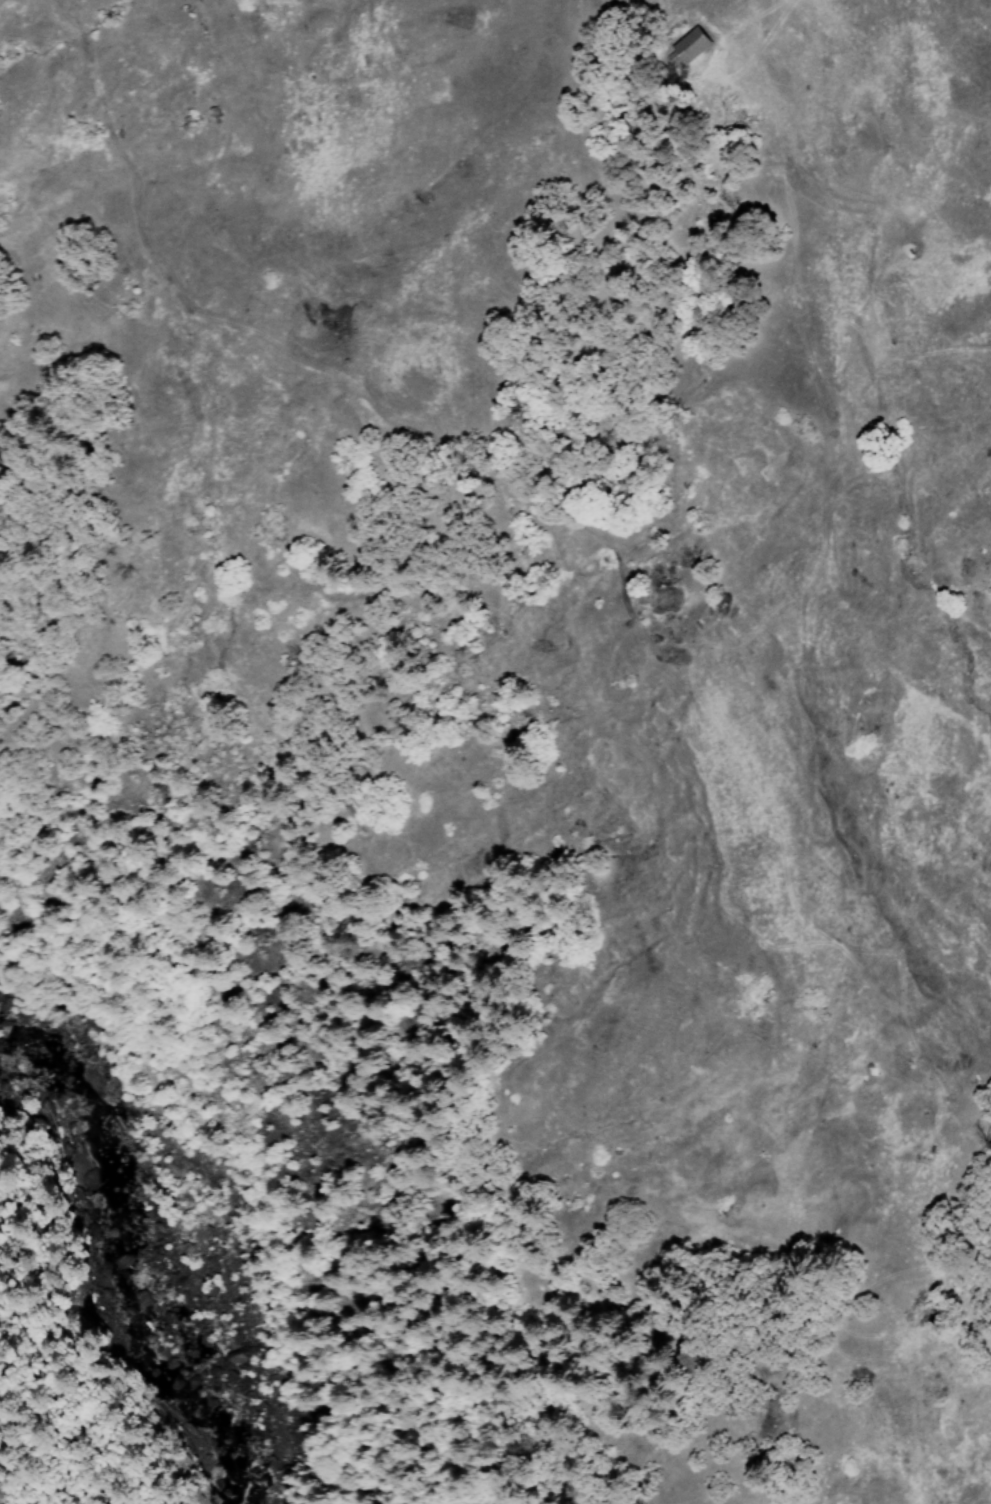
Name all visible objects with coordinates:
building: (693, 45)
river: (143, 1253)

